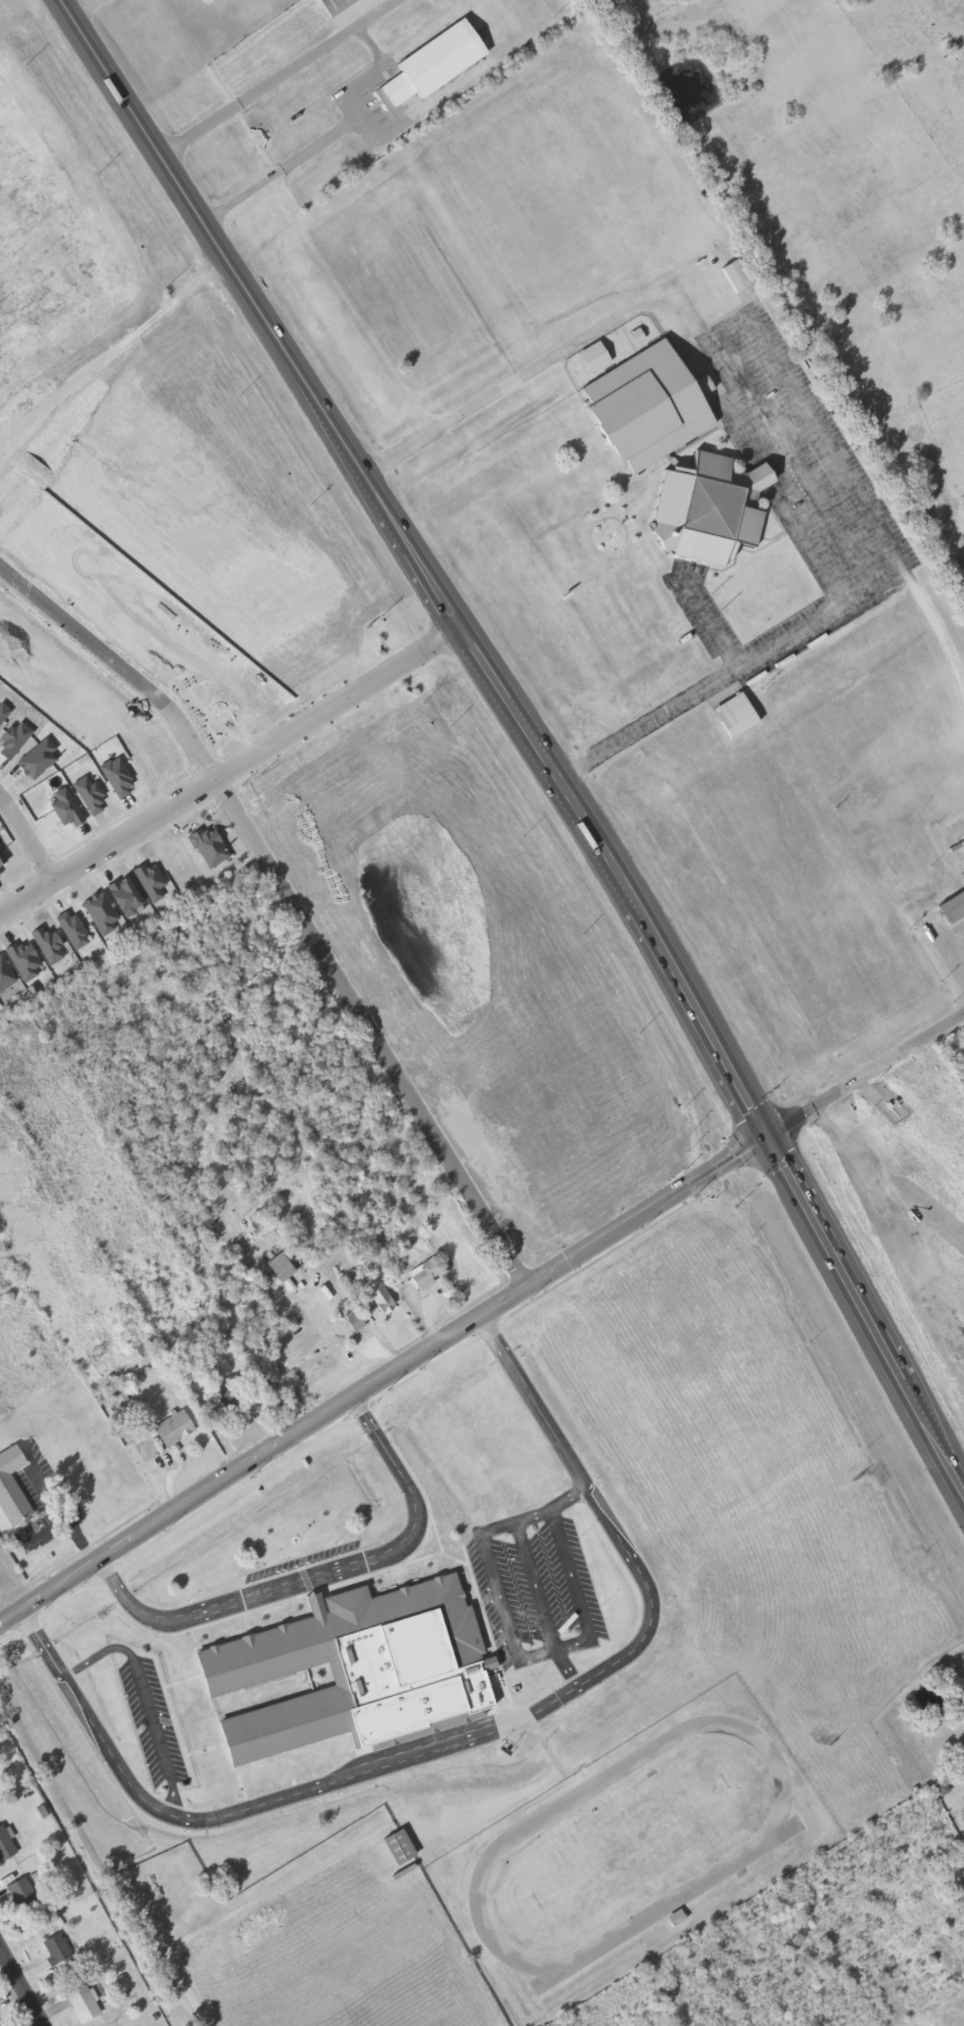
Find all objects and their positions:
building: (334, 5)
building: (429, 68)
building: (735, 278)
building: (593, 360)
building: (646, 410)
building: (706, 512)
road: (421, 564)
building: (735, 717)
road: (230, 766)
road: (27, 835)
building: (951, 907)
road: (347, 994)
road: (866, 1078)
traffic signals: (768, 1138)
building: (280, 1268)
building: (424, 1274)
building: (380, 1298)
road: (866, 1316)
building: (354, 1322)
building: (139, 1345)
road: (381, 1379)
building: (228, 1402)
building: (173, 1430)
road: (554, 1510)
road: (322, 1573)
road: (536, 1586)
road: (578, 1594)
road: (502, 1597)
road: (567, 1668)
building: (371, 1679)
road: (145, 1697)
road: (475, 1739)
track: (603, 1793)
building: (5, 1846)
building: (398, 1849)
building: (963, 1879)
building: (22, 1897)
track: (678, 1908)
building: (676, 1919)
building: (58, 1955)
road: (24, 1984)
building: (83, 2005)

